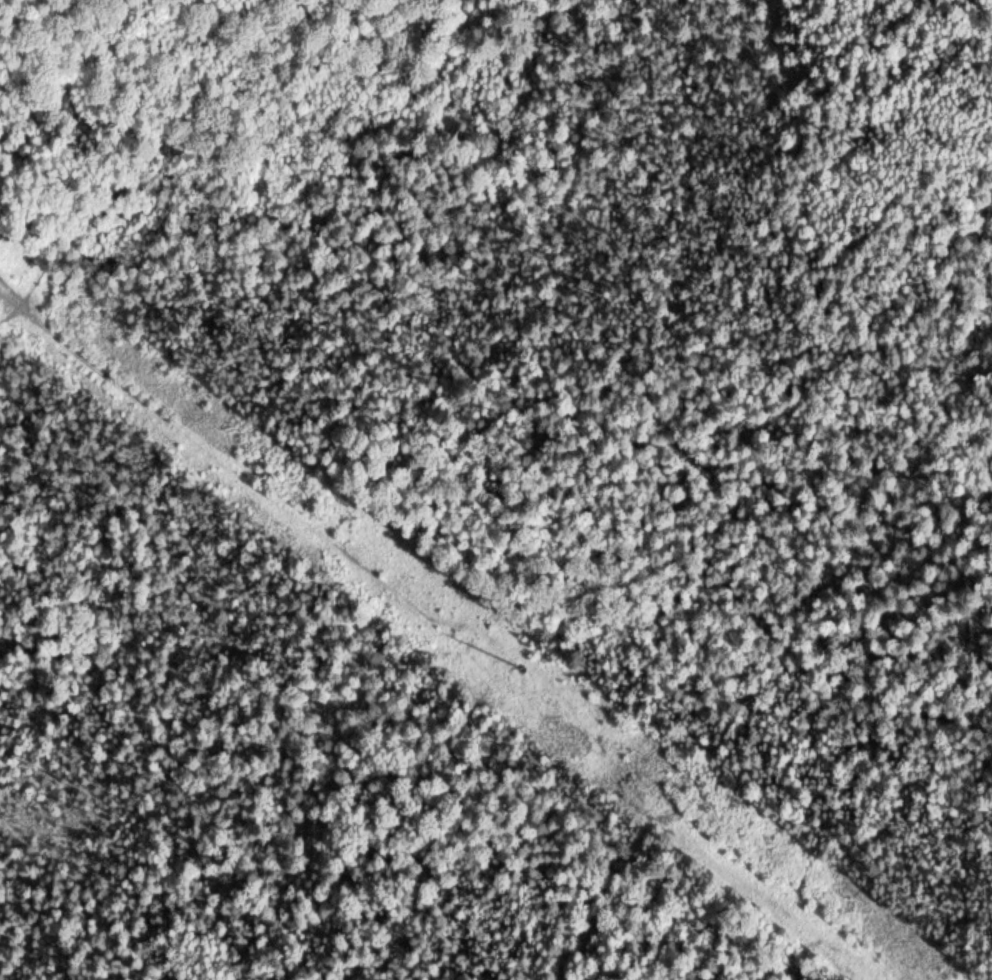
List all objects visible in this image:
power tower: (506, 660)

